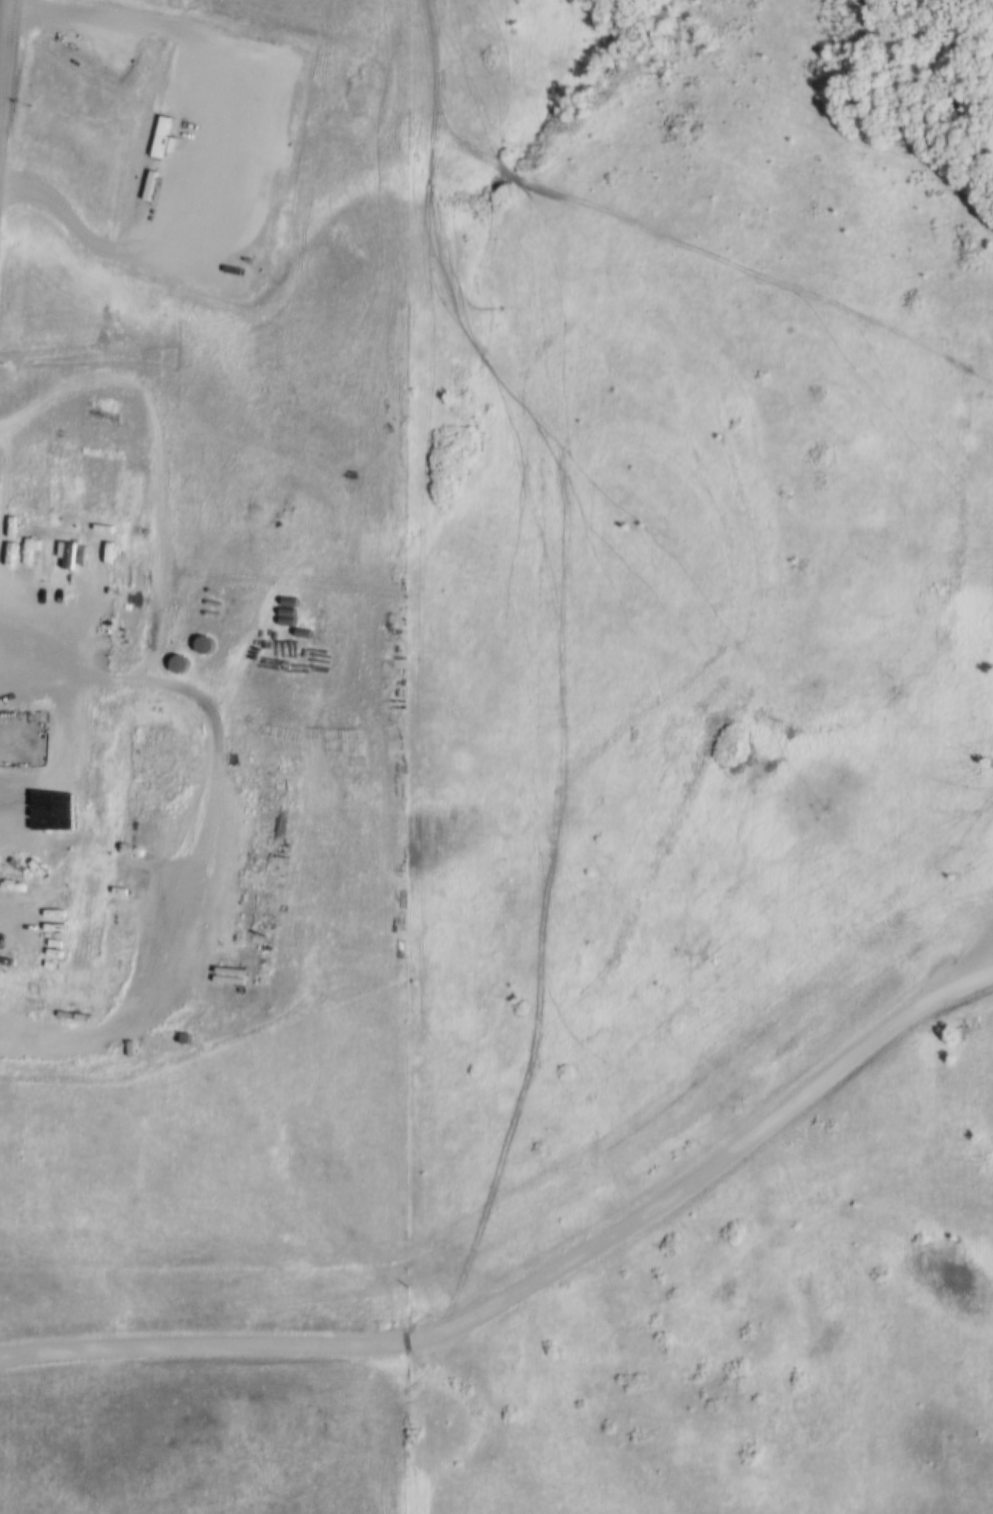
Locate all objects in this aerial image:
building: (98, 55)
road: (9, 76)
building: (279, 109)
building: (156, 137)
building: (7, 527)
building: (78, 553)
building: (6, 555)
building: (38, 557)
building: (62, 557)
storage tank: (200, 645)
building: (92, 652)
storage tank: (174, 664)
building: (73, 939)
building: (5, 960)
road: (976, 968)
building: (35, 969)
road: (532, 1274)

